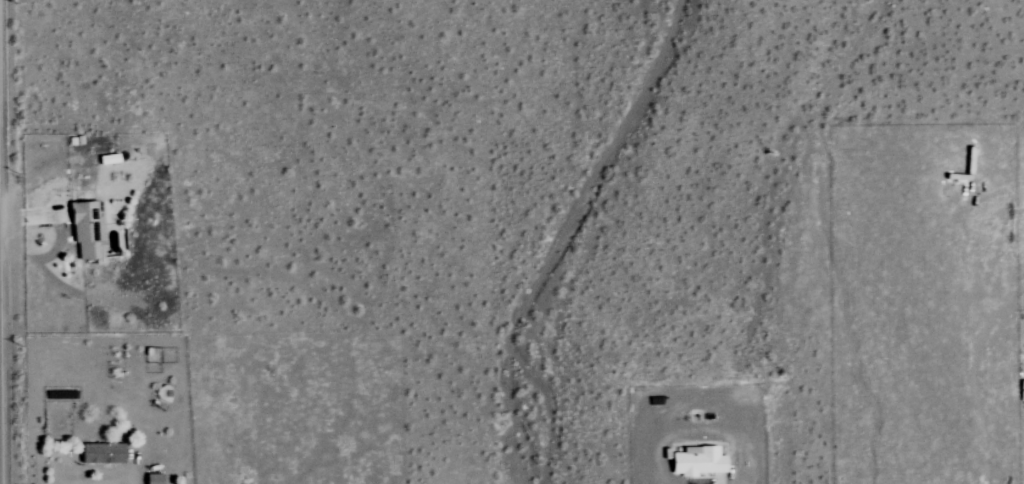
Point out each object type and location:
building: (86, 229)
road: (6, 242)
building: (100, 453)
building: (697, 461)

